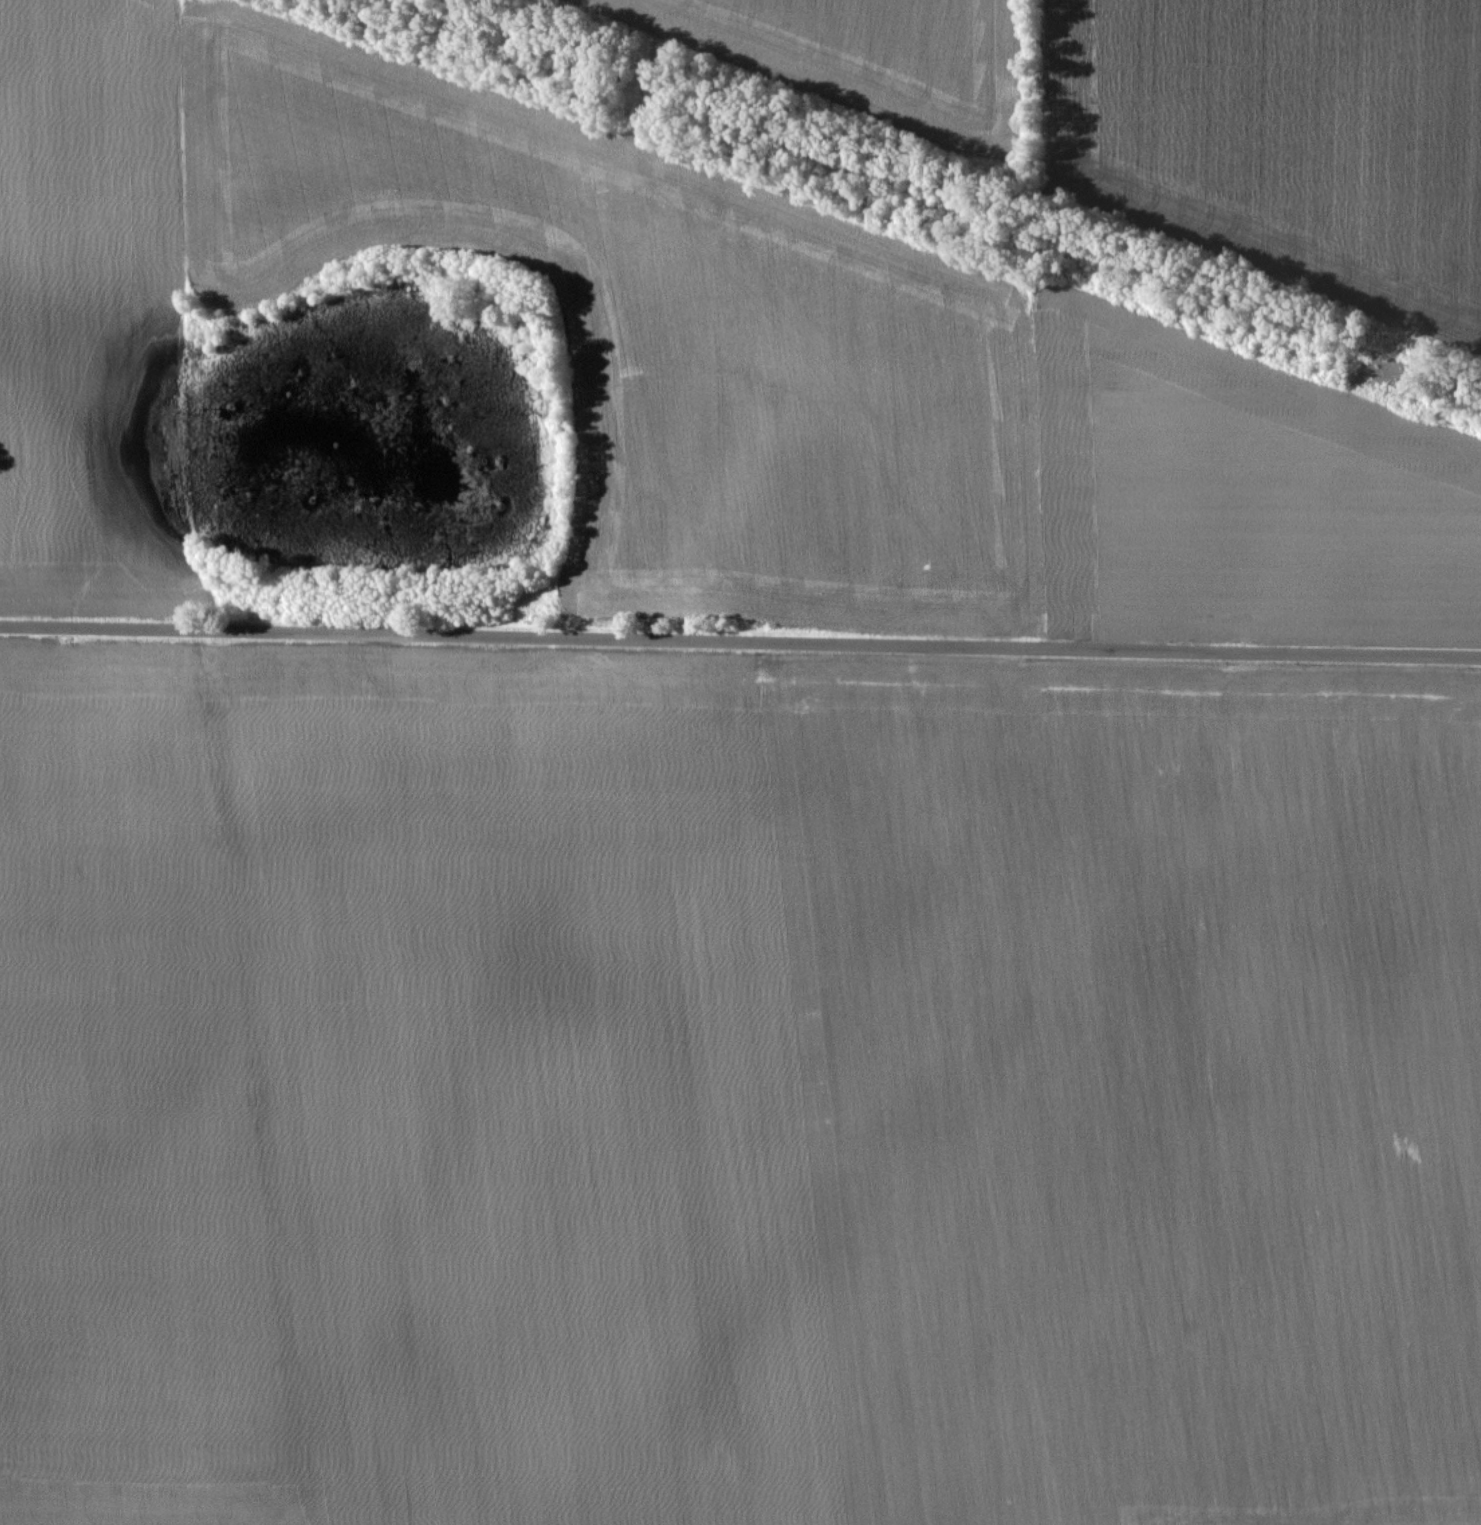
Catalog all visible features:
road: (740, 639)

